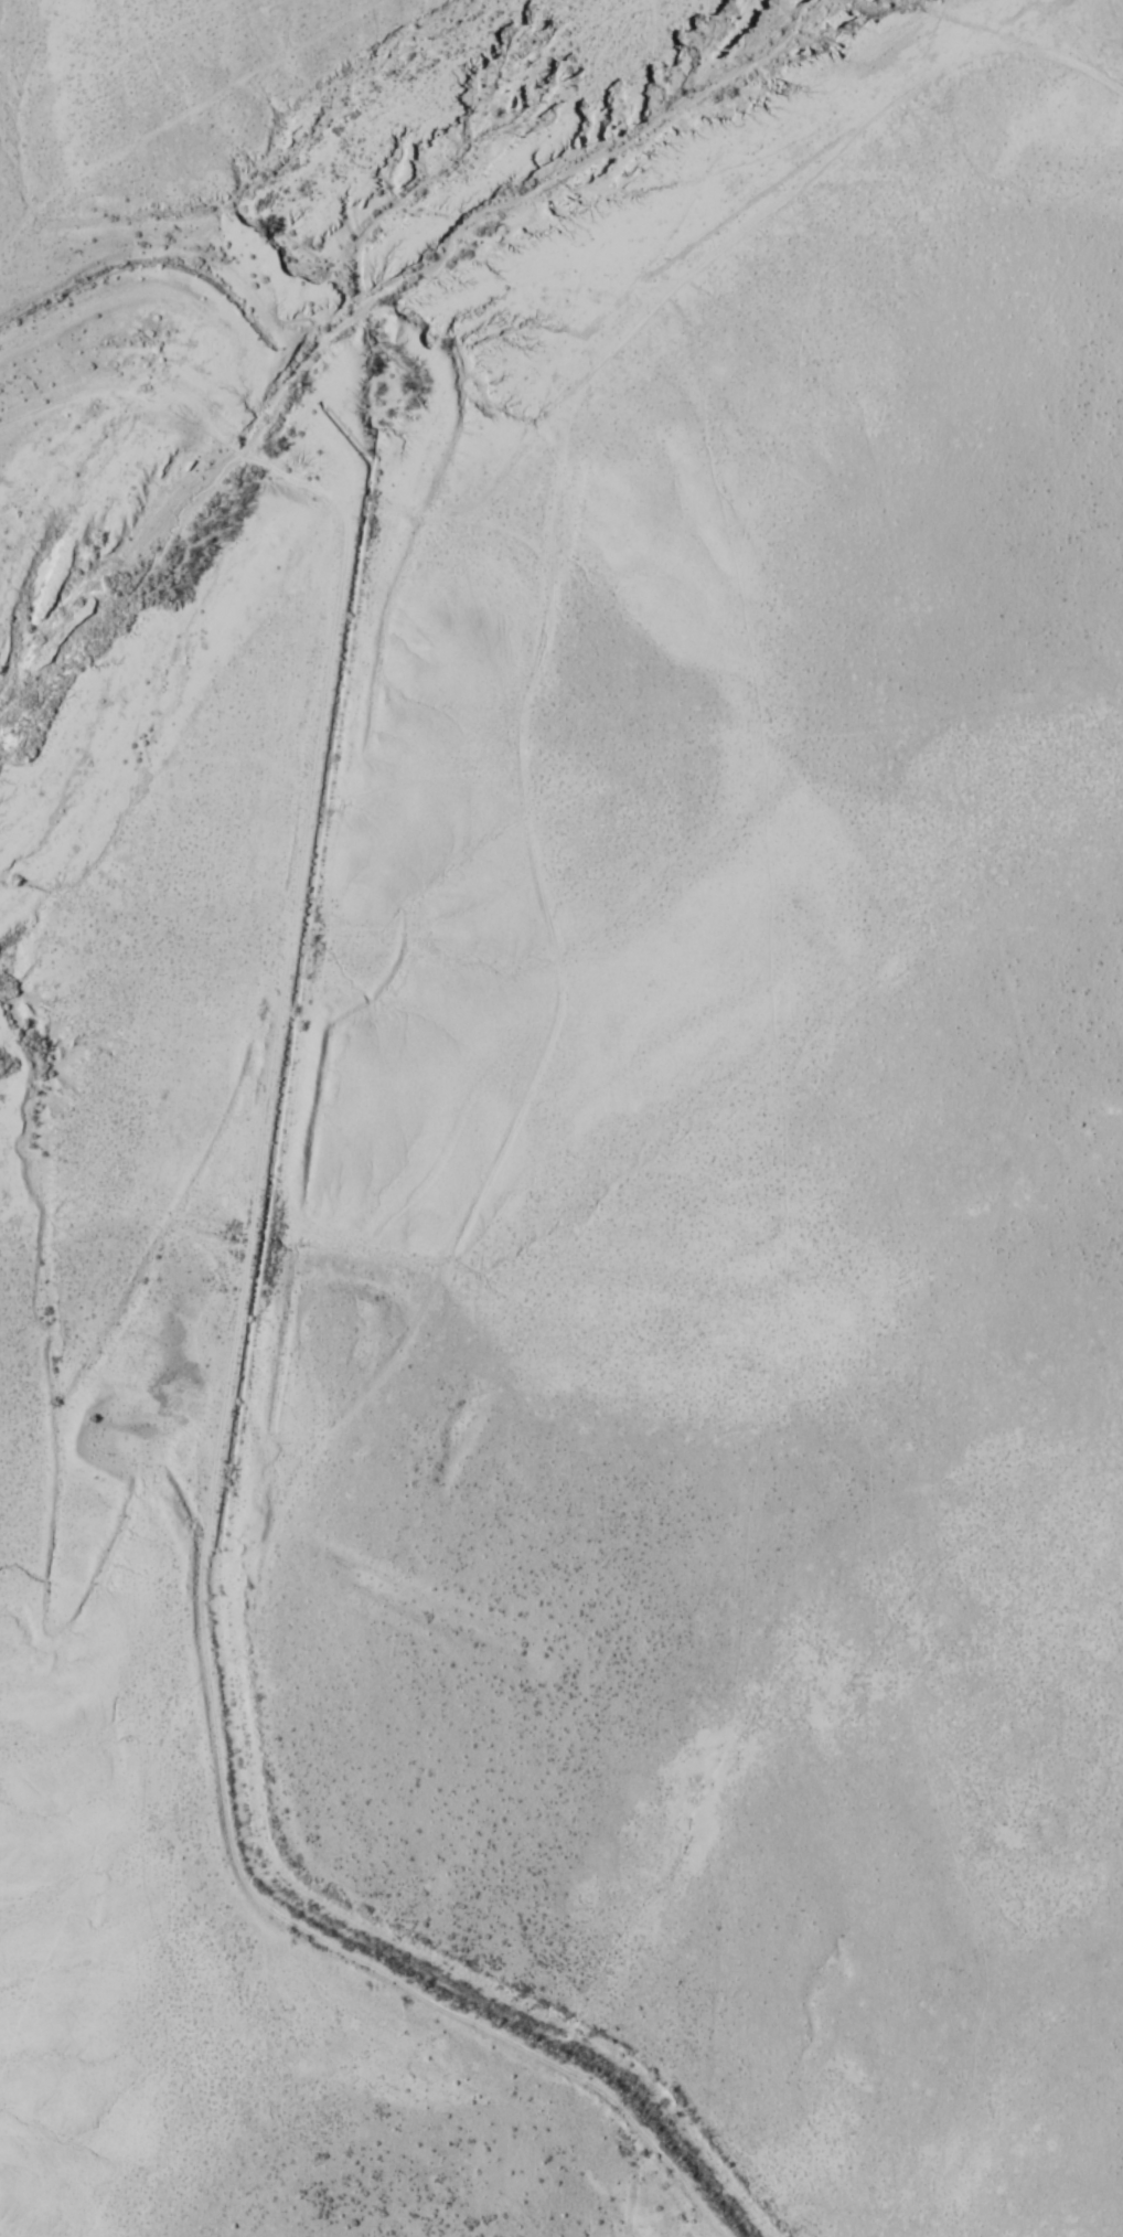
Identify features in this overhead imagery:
road: (49, 98)
road: (204, 390)
road: (291, 1483)

